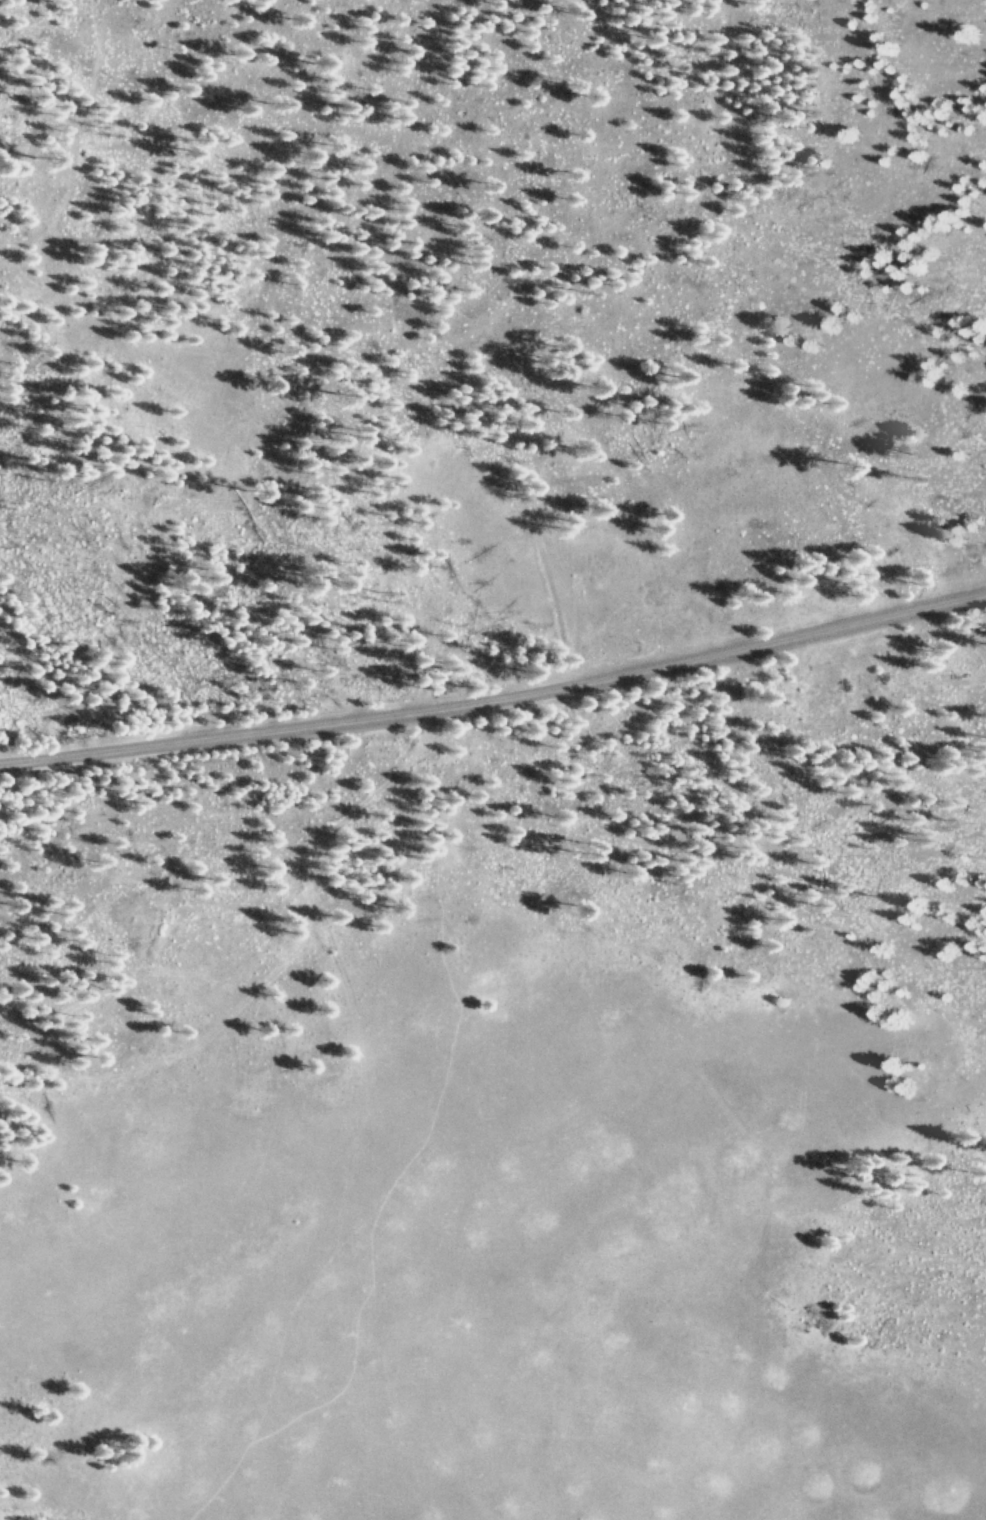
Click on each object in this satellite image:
road: (495, 697)

